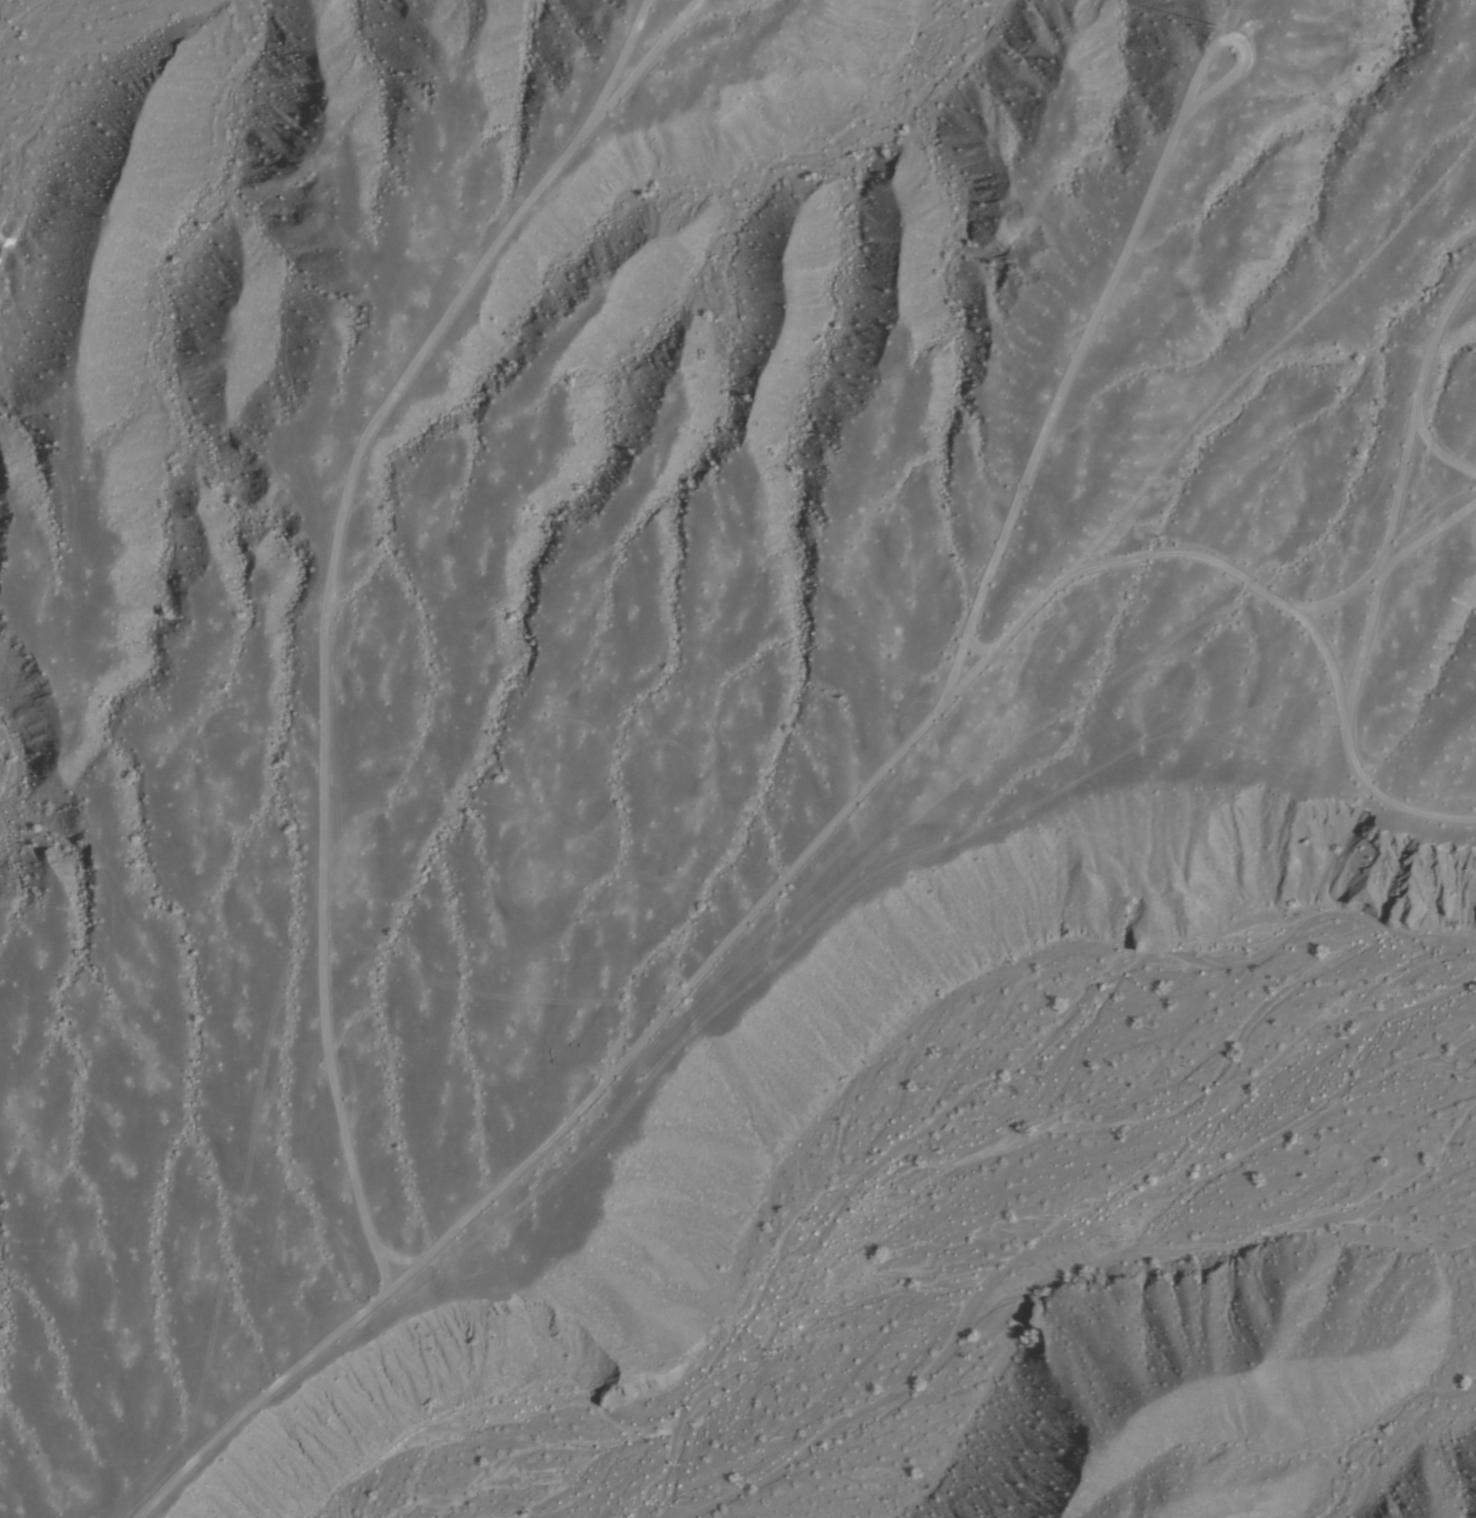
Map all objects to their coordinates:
road: (1320, 550)

